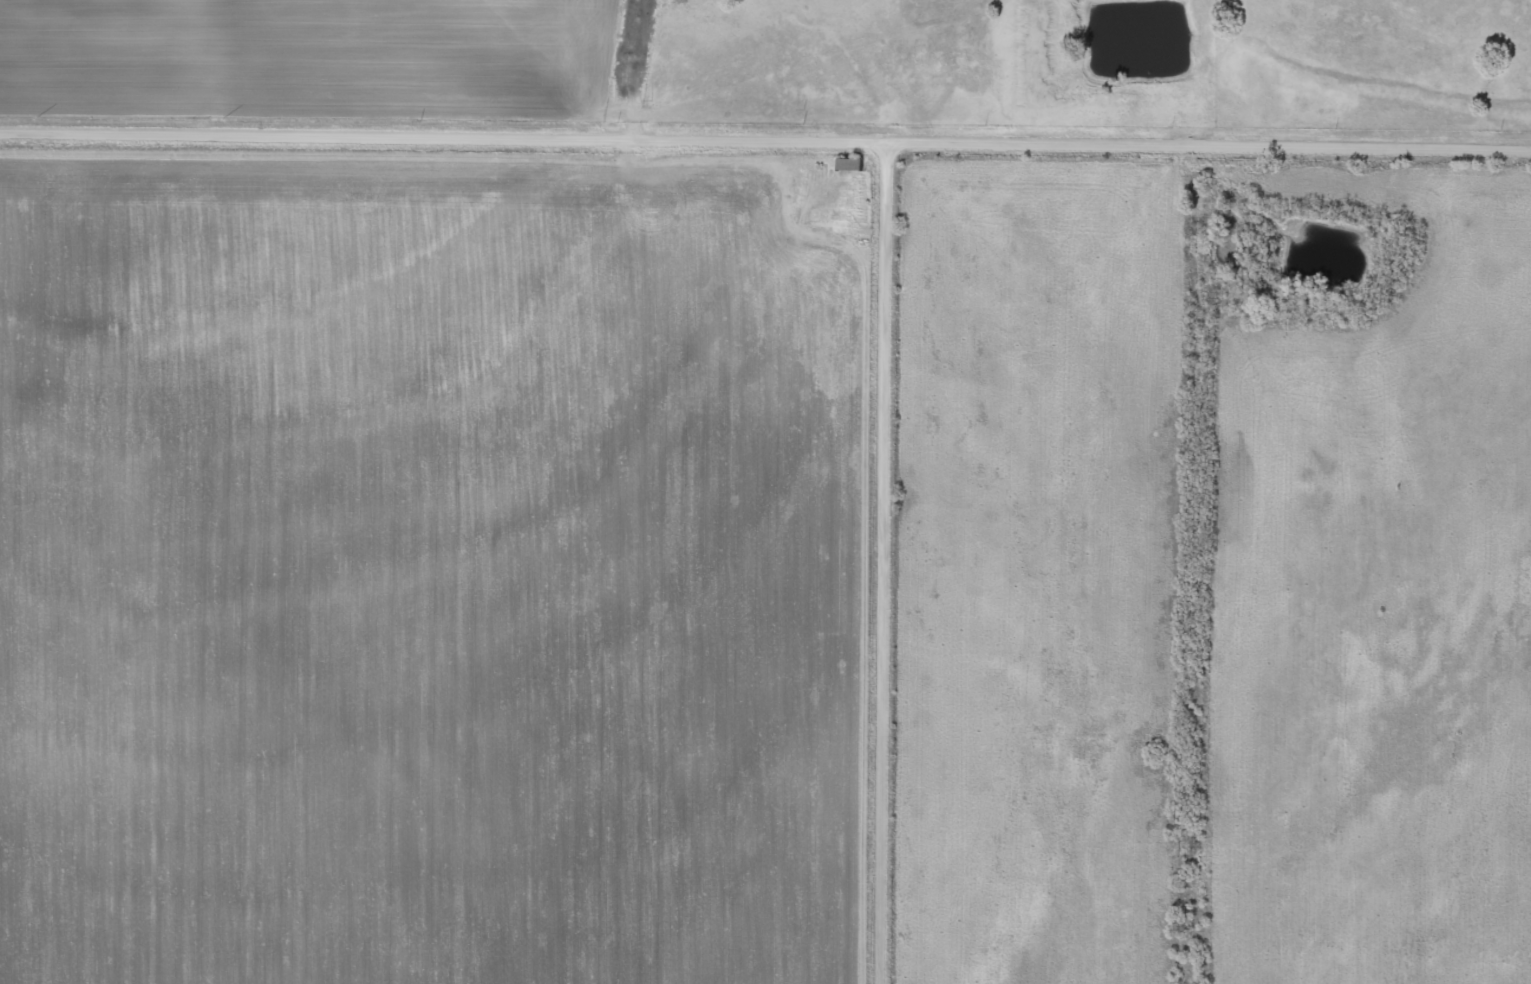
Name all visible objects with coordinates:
road: (926, 93)
building: (845, 164)
road: (765, 177)
road: (883, 581)

